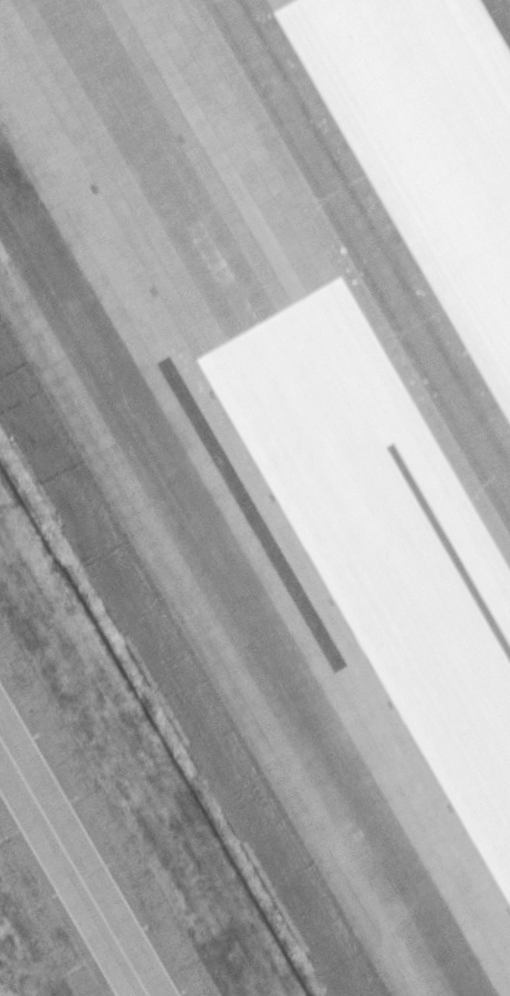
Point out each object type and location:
building: (226, 325)
airport: (255, 498)
airport apron: (255, 498)
airport taxiway: (73, 868)

